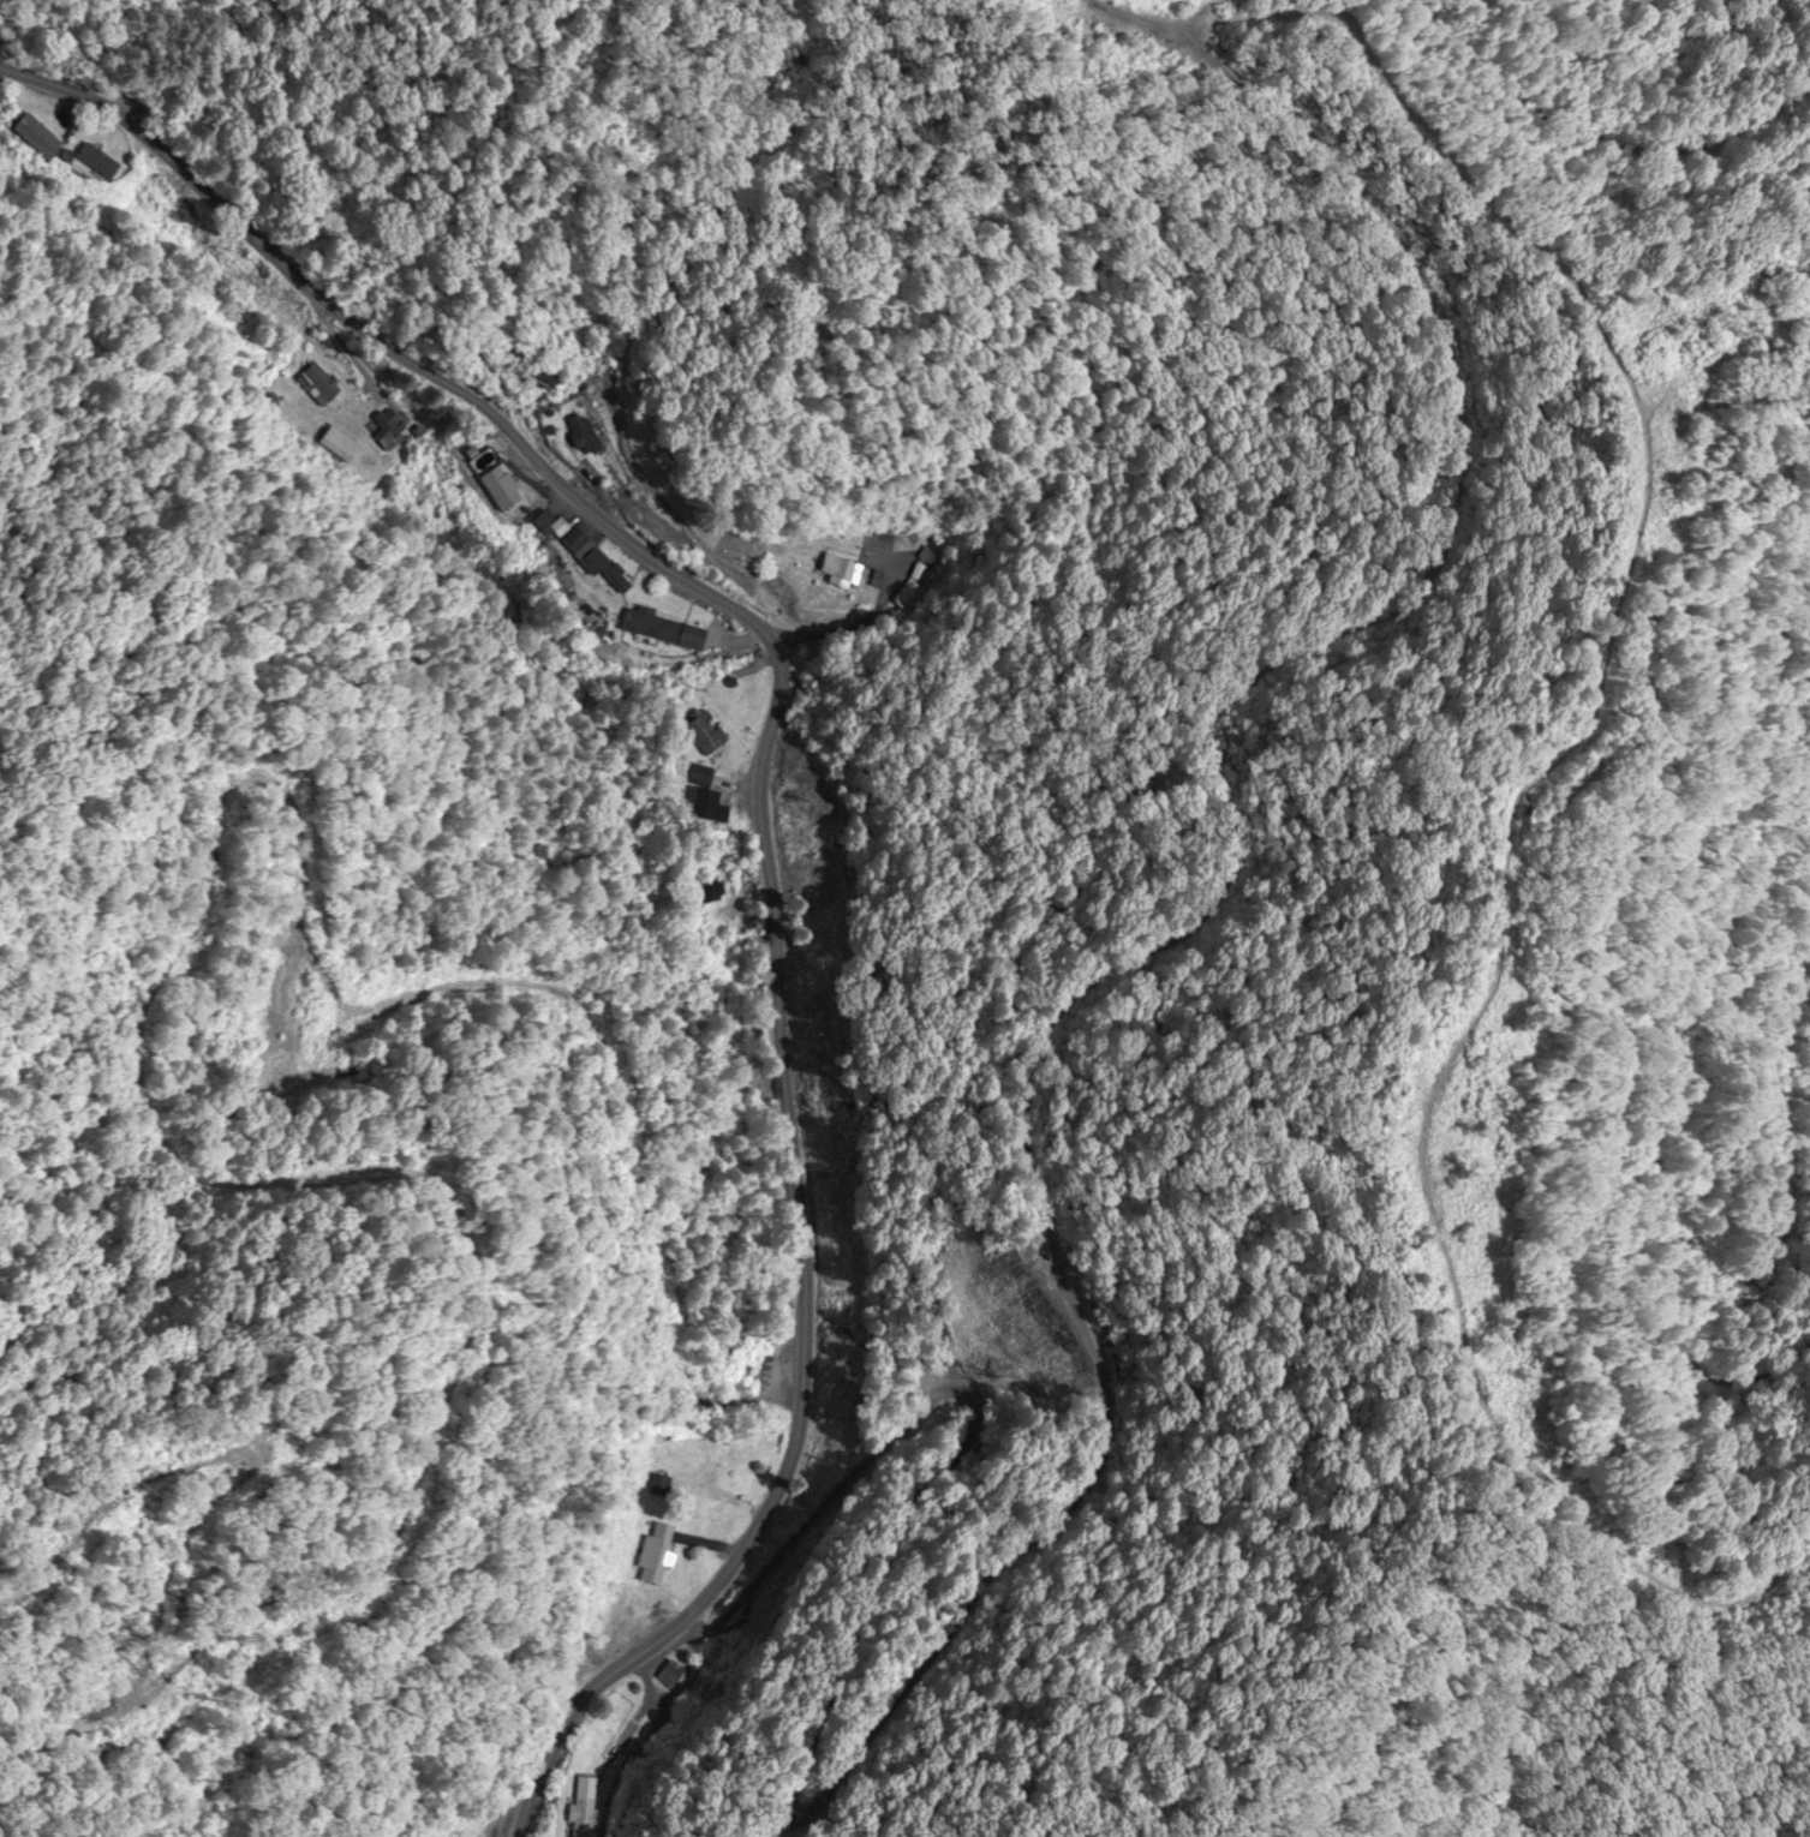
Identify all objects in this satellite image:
building: (28, 138)
building: (94, 166)
building: (312, 385)
building: (388, 429)
building: (577, 435)
building: (333, 445)
building: (485, 483)
building: (928, 574)
building: (656, 630)
building: (697, 732)
building: (693, 778)
building: (695, 797)
road: (755, 802)
building: (705, 891)
building: (649, 1555)
building: (671, 1676)
building: (601, 1733)
building: (580, 1808)

